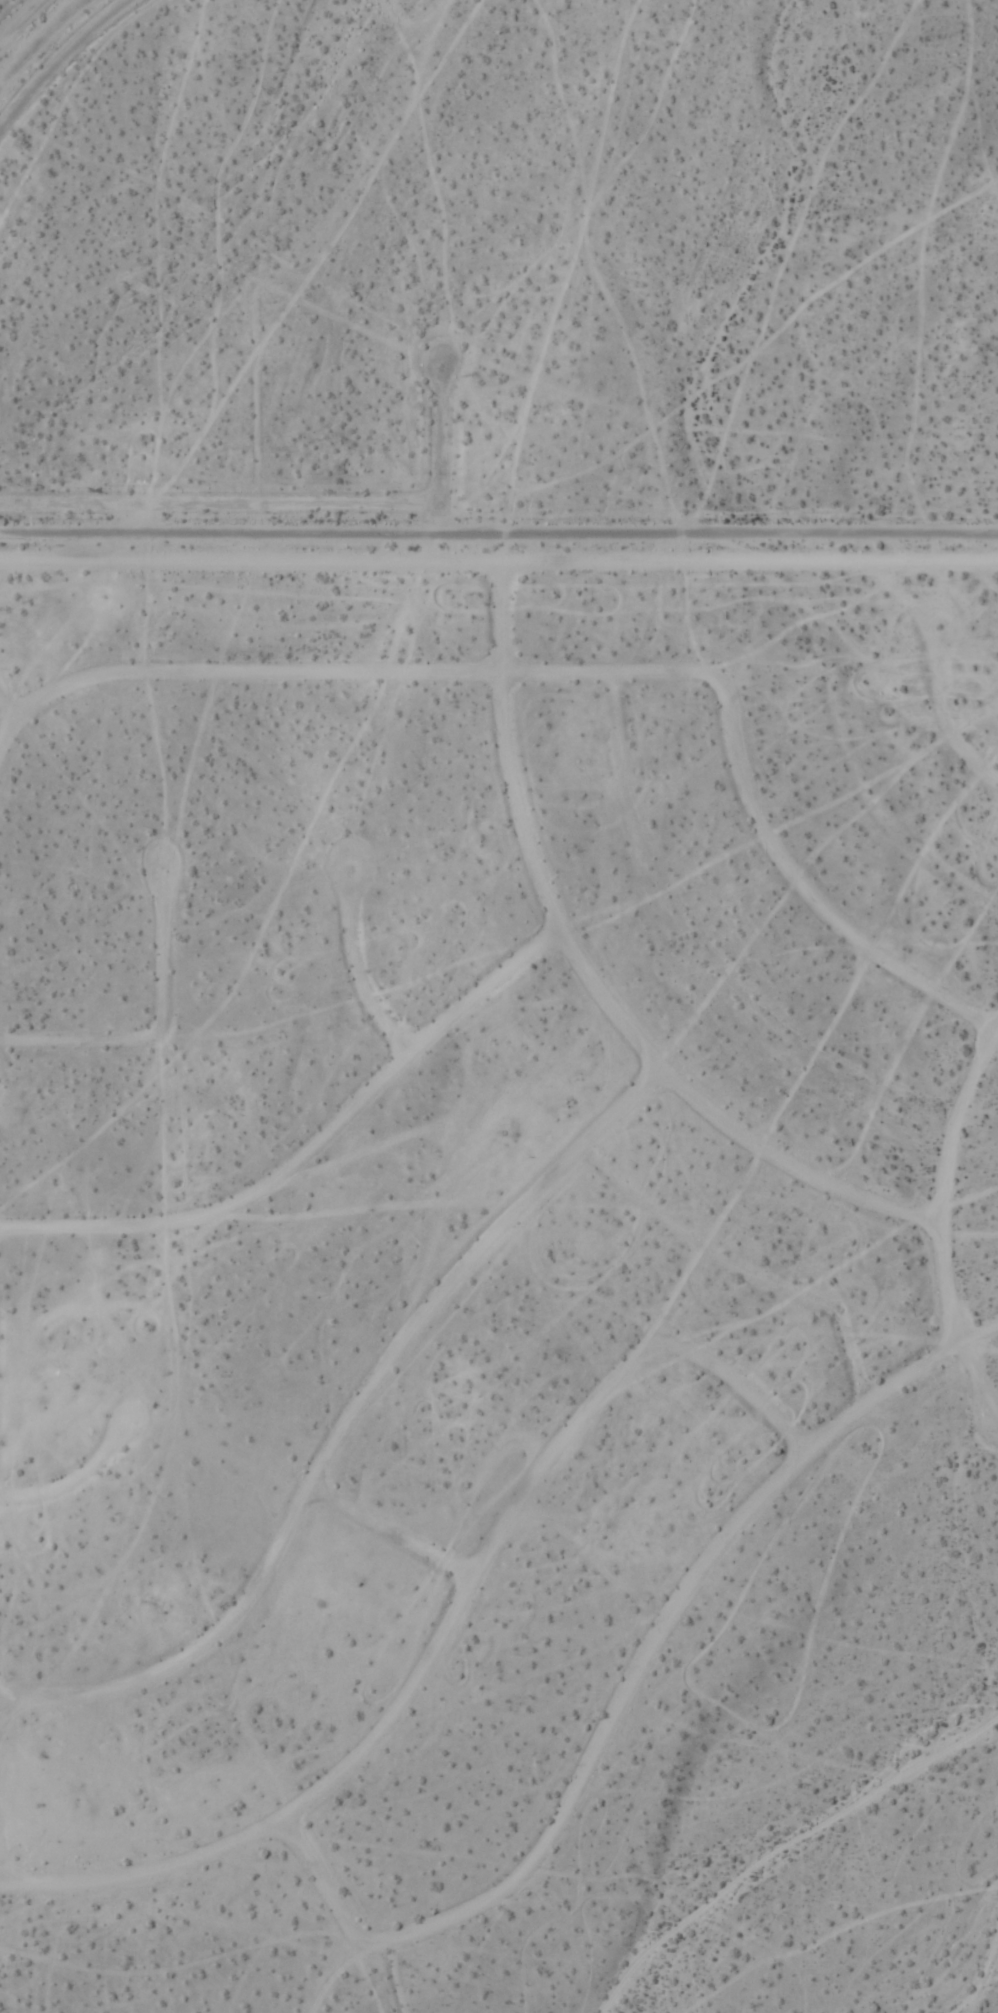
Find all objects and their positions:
road: (443, 463)
road: (498, 536)
road: (498, 563)
road: (252, 680)
road: (943, 724)
road: (8, 735)
road: (748, 808)
road: (580, 972)
road: (356, 974)
crop: (499, 1006)
road: (158, 1036)
road: (307, 1155)
road: (941, 1186)
road: (342, 1431)
road: (74, 1484)
road: (390, 1537)
road: (445, 1636)
road: (627, 1695)

